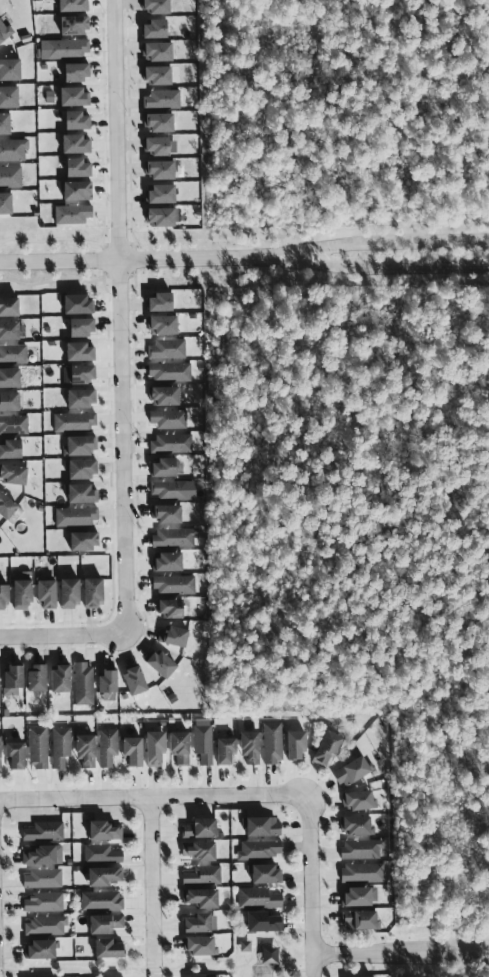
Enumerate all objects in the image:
building: (74, 6)
building: (157, 6)
building: (77, 24)
building: (157, 28)
building: (6, 32)
building: (63, 49)
building: (159, 51)
building: (11, 69)
building: (78, 71)
building: (159, 74)
building: (76, 95)
building: (10, 96)
building: (164, 99)
building: (78, 120)
building: (161, 122)
building: (6, 123)
building: (79, 144)
building: (159, 145)
building: (14, 150)
building: (79, 167)
building: (162, 169)
building: (11, 176)
building: (78, 190)
building: (163, 193)
building: (7, 203)
building: (75, 214)
building: (164, 216)
road: (405, 235)
road: (162, 258)
road: (406, 262)
building: (162, 302)
building: (78, 303)
building: (10, 306)
road: (120, 319)
building: (165, 324)
building: (84, 327)
building: (11, 330)
building: (168, 349)
building: (83, 352)
building: (13, 355)
building: (171, 372)
building: (80, 374)
building: (11, 378)
building: (167, 396)
building: (83, 398)
building: (11, 402)
building: (170, 419)
building: (75, 422)
building: (14, 425)
building: (173, 443)
building: (81, 446)
building: (13, 449)
building: (166, 467)
building: (82, 469)
building: (15, 474)
building: (170, 490)
building: (82, 493)
building: (8, 505)
building: (169, 514)
building: (77, 517)
building: (174, 538)
building: (86, 540)
building: (175, 585)
building: (25, 591)
building: (96, 591)
building: (73, 593)
building: (50, 594)
building: (5, 597)
building: (174, 608)
building: (176, 636)
road: (63, 640)
building: (164, 664)
building: (0, 674)
building: (39, 678)
building: (15, 679)
building: (62, 679)
building: (137, 680)
building: (110, 682)
building: (85, 684)
building: (203, 741)
building: (272, 743)
building: (296, 745)
building: (39, 747)
building: (62, 747)
building: (109, 747)
building: (328, 747)
building: (156, 748)
building: (181, 748)
building: (252, 748)
building: (88, 750)
building: (135, 751)
building: (226, 751)
building: (1, 752)
building: (18, 755)
building: (354, 772)
road: (156, 797)
building: (360, 800)
building: (358, 825)
building: (264, 827)
building: (202, 829)
building: (106, 831)
building: (45, 832)
building: (362, 849)
building: (260, 850)
building: (201, 851)
building: (102, 854)
building: (42, 855)
building: (363, 873)
building: (106, 876)
building: (203, 876)
building: (43, 879)
road: (313, 885)
road: (151, 887)
building: (359, 897)
building: (204, 898)
building: (259, 899)
building: (102, 901)
building: (45, 903)
building: (362, 920)
building: (265, 922)
building: (107, 924)
building: (200, 924)
building: (46, 926)
building: (202, 946)
building: (111, 949)
building: (42, 950)
road: (401, 953)

